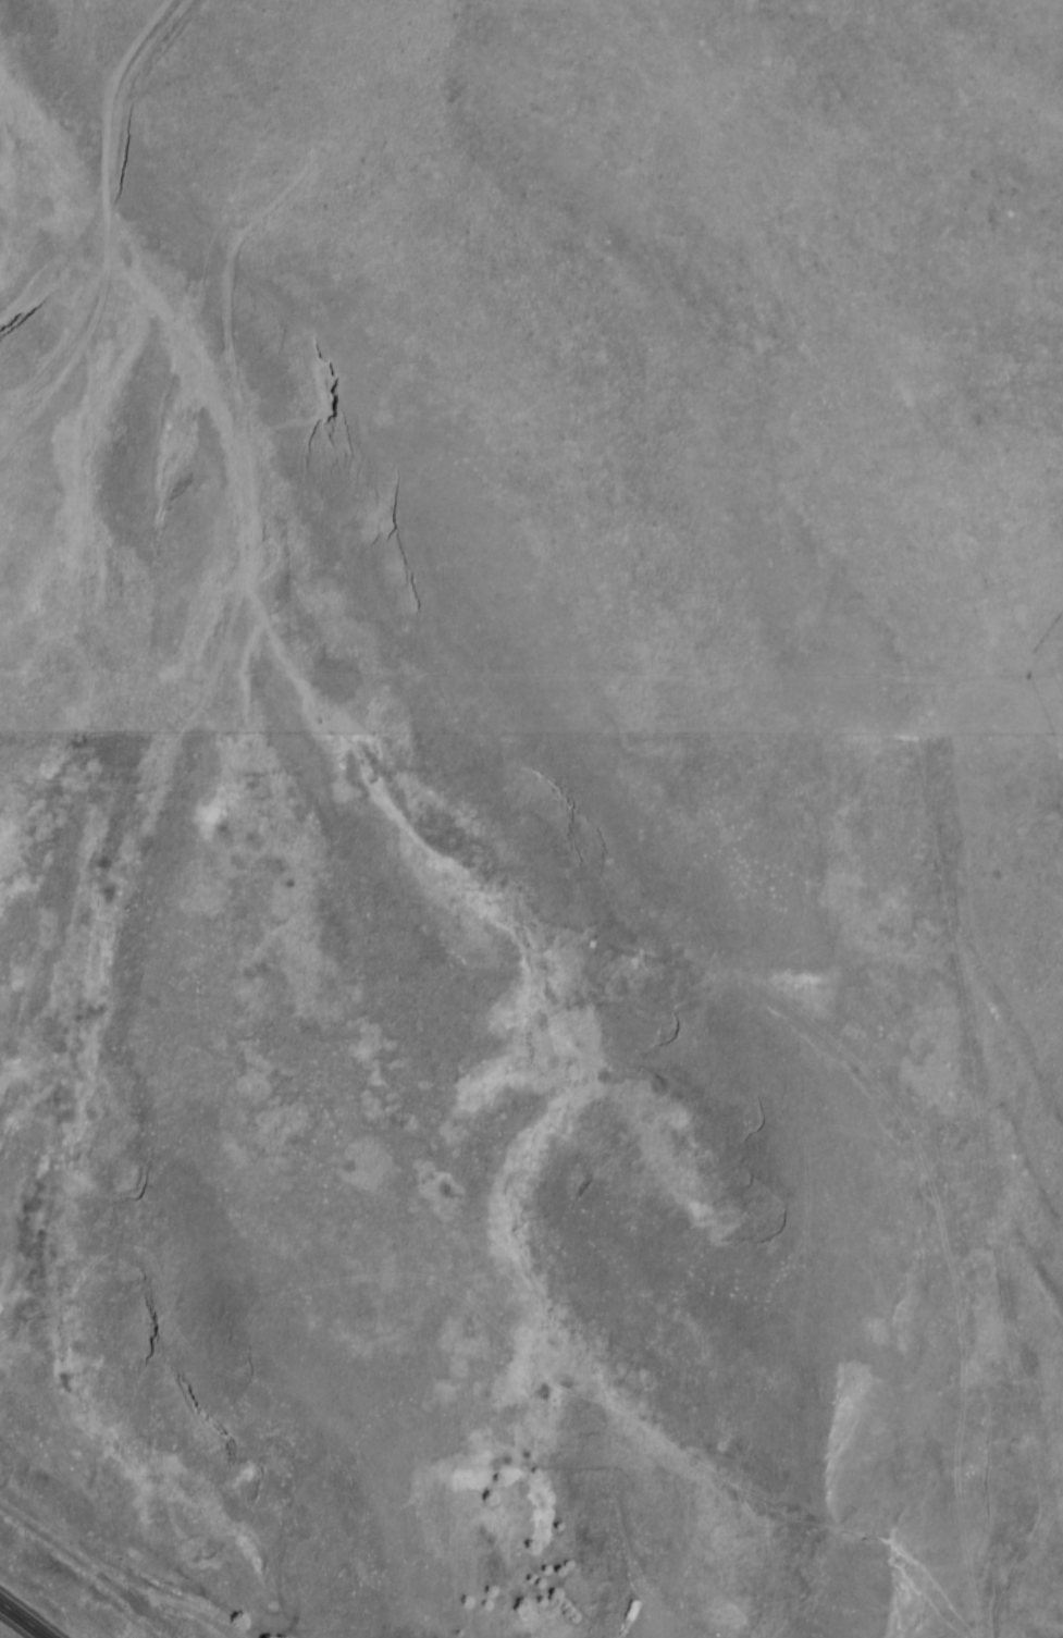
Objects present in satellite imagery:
road: (23, 1619)

